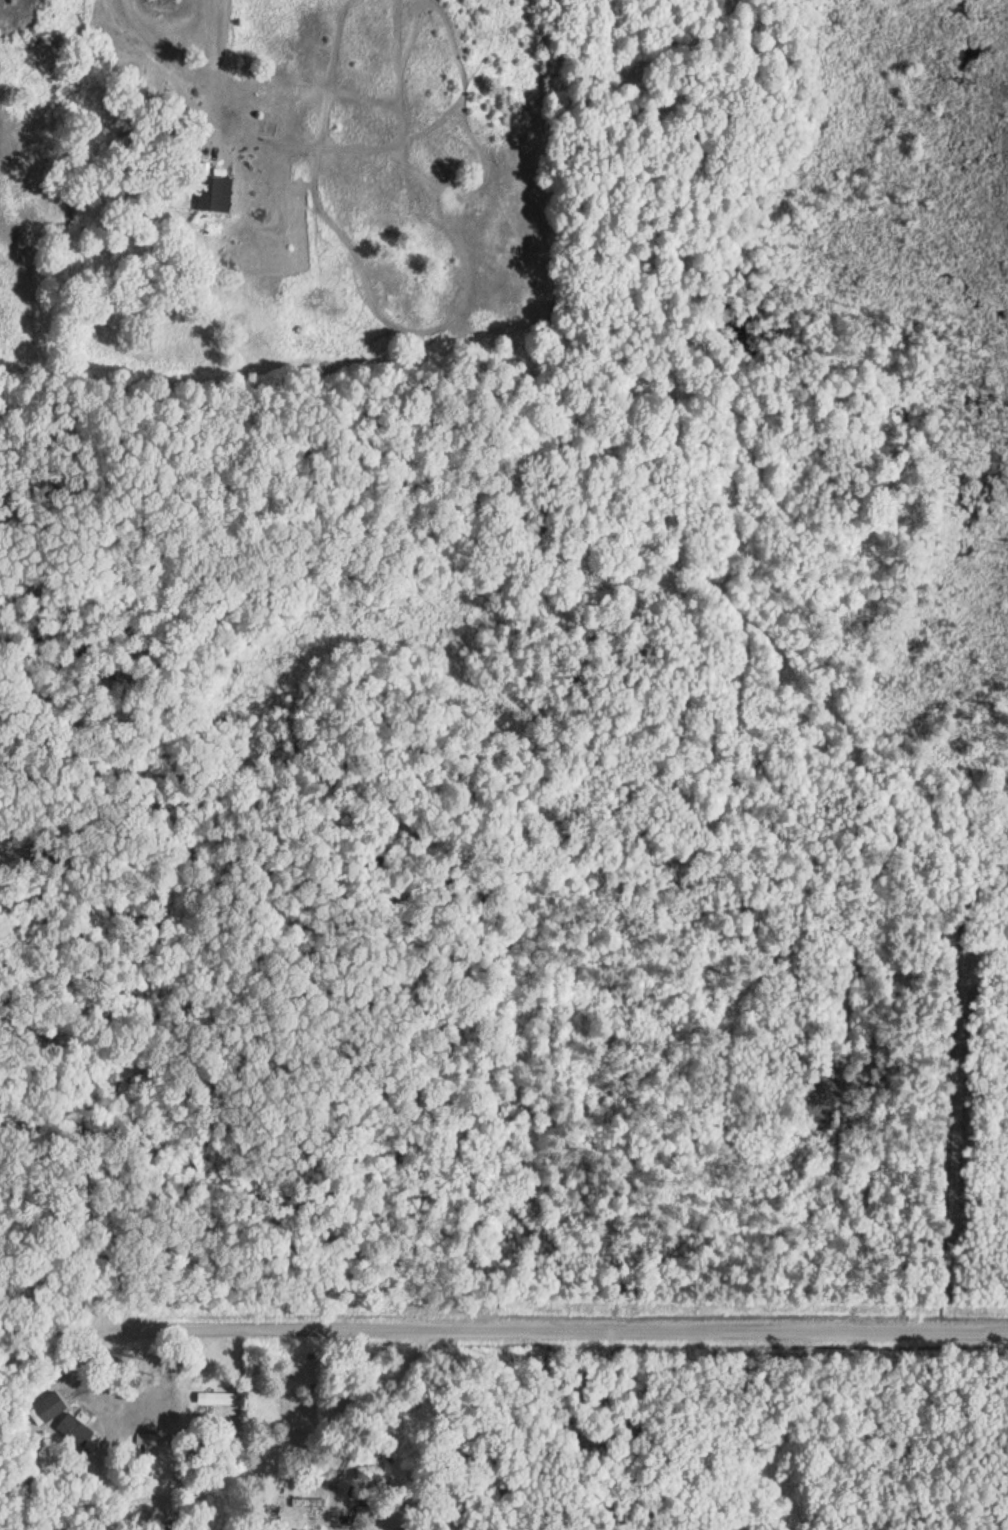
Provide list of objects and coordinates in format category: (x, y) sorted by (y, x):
building: (216, 195)
road: (503, 1298)
building: (222, 1399)
building: (52, 1405)
building: (77, 1429)
building: (309, 1502)
building: (364, 1512)

